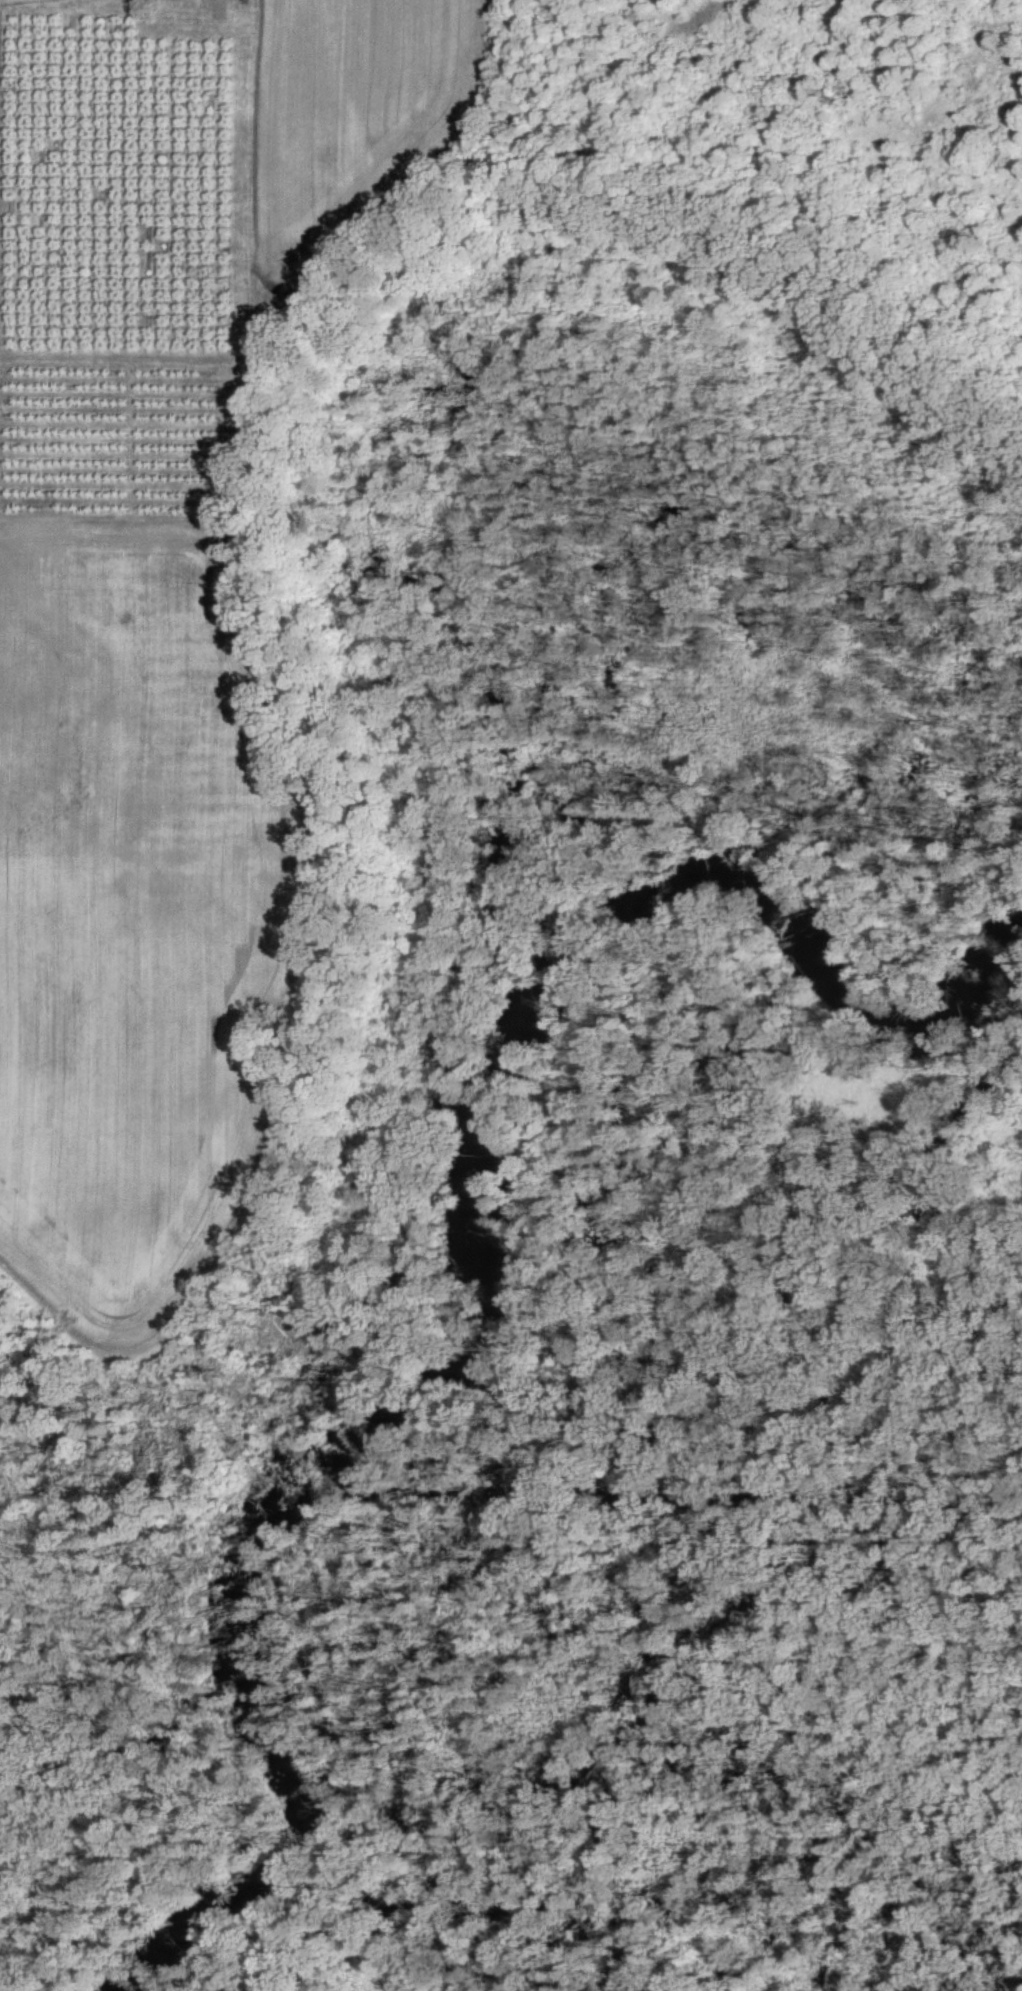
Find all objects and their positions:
river: (491, 1300)

